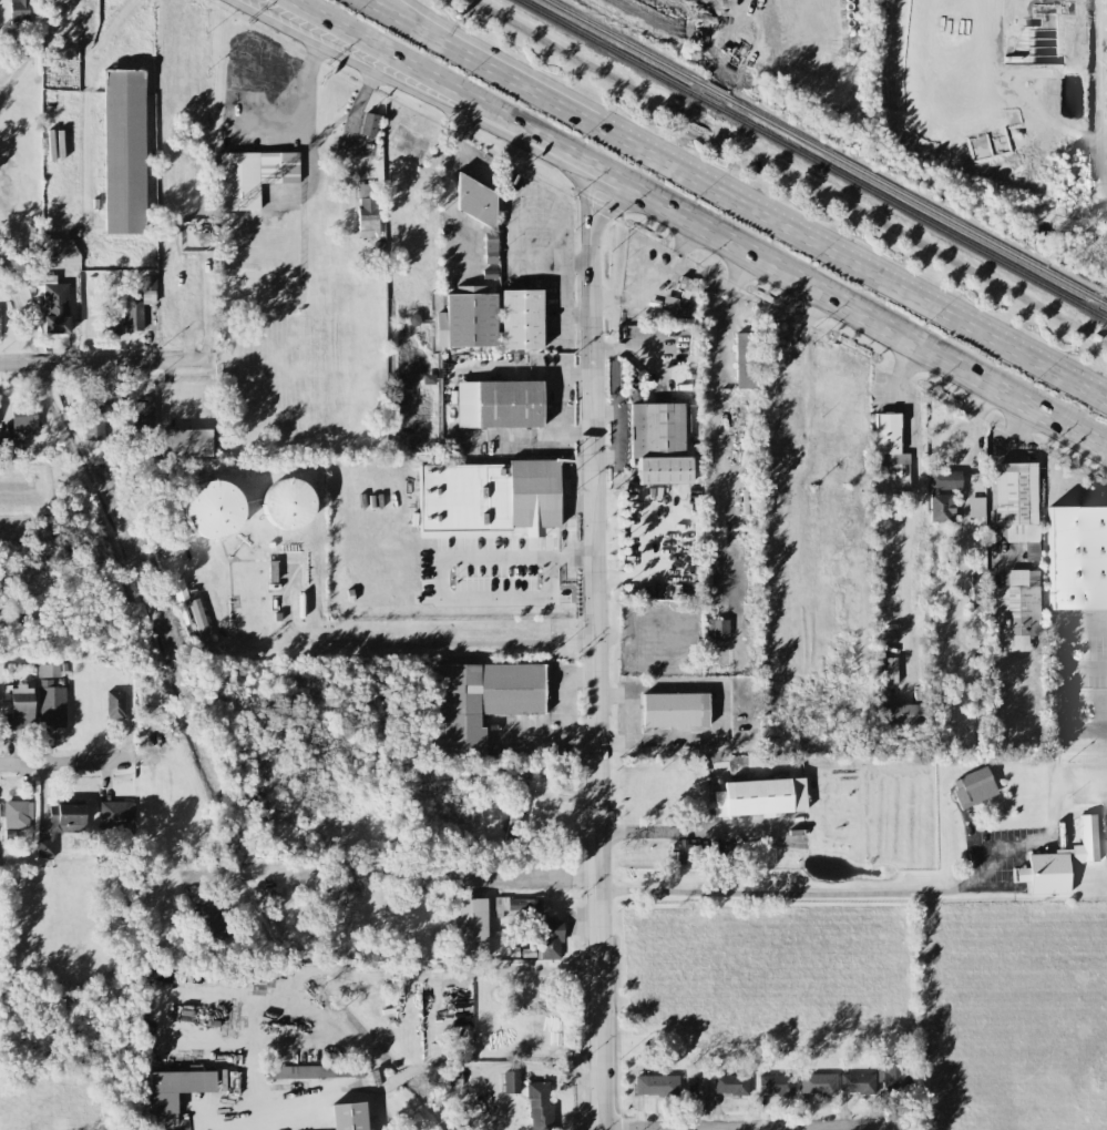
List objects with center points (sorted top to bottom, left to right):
building: (19, 11)
road: (406, 16)
road: (413, 16)
road: (101, 35)
road: (362, 41)
railway: (625, 43)
road: (338, 44)
railway: (607, 49)
railway: (713, 91)
railway: (706, 102)
road: (84, 112)
road: (305, 114)
building: (368, 123)
building: (123, 150)
building: (253, 175)
building: (475, 200)
railway: (913, 201)
building: (367, 208)
road: (771, 213)
railway: (911, 214)
road: (514, 231)
building: (491, 246)
building: (58, 250)
road: (555, 256)
road: (773, 257)
road: (662, 282)
building: (147, 288)
building: (51, 301)
building: (133, 315)
building: (467, 318)
building: (521, 318)
road: (637, 352)
building: (745, 359)
road: (131, 363)
road: (16, 365)
road: (41, 365)
building: (499, 403)
building: (142, 413)
building: (96, 417)
building: (23, 418)
building: (888, 439)
building: (185, 441)
building: (658, 441)
road: (522, 442)
road: (725, 445)
road: (807, 460)
road: (913, 489)
building: (942, 493)
building: (490, 495)
building: (1016, 499)
building: (288, 502)
building: (975, 506)
building: (213, 508)
building: (1077, 557)
road: (441, 571)
building: (975, 587)
building: (1017, 609)
building: (199, 621)
building: (717, 627)
road: (362, 643)
road: (1067, 644)
road: (595, 645)
building: (148, 698)
building: (479, 700)
building: (51, 703)
building: (114, 703)
building: (18, 704)
building: (674, 709)
building: (900, 713)
road: (65, 766)
building: (973, 786)
building: (760, 796)
building: (17, 813)
building: (515, 813)
building: (115, 814)
building: (60, 824)
road: (660, 833)
building: (1086, 839)
building: (687, 851)
road: (422, 871)
building: (1046, 872)
road: (836, 894)
building: (516, 904)
building: (469, 927)
building: (550, 938)
road: (277, 997)
building: (311, 1070)
building: (890, 1076)
building: (511, 1080)
building: (730, 1082)
building: (776, 1082)
building: (818, 1082)
building: (857, 1082)
building: (656, 1083)
building: (174, 1091)
building: (540, 1104)
building: (349, 1116)
road: (745, 1126)
building: (312, 1128)

